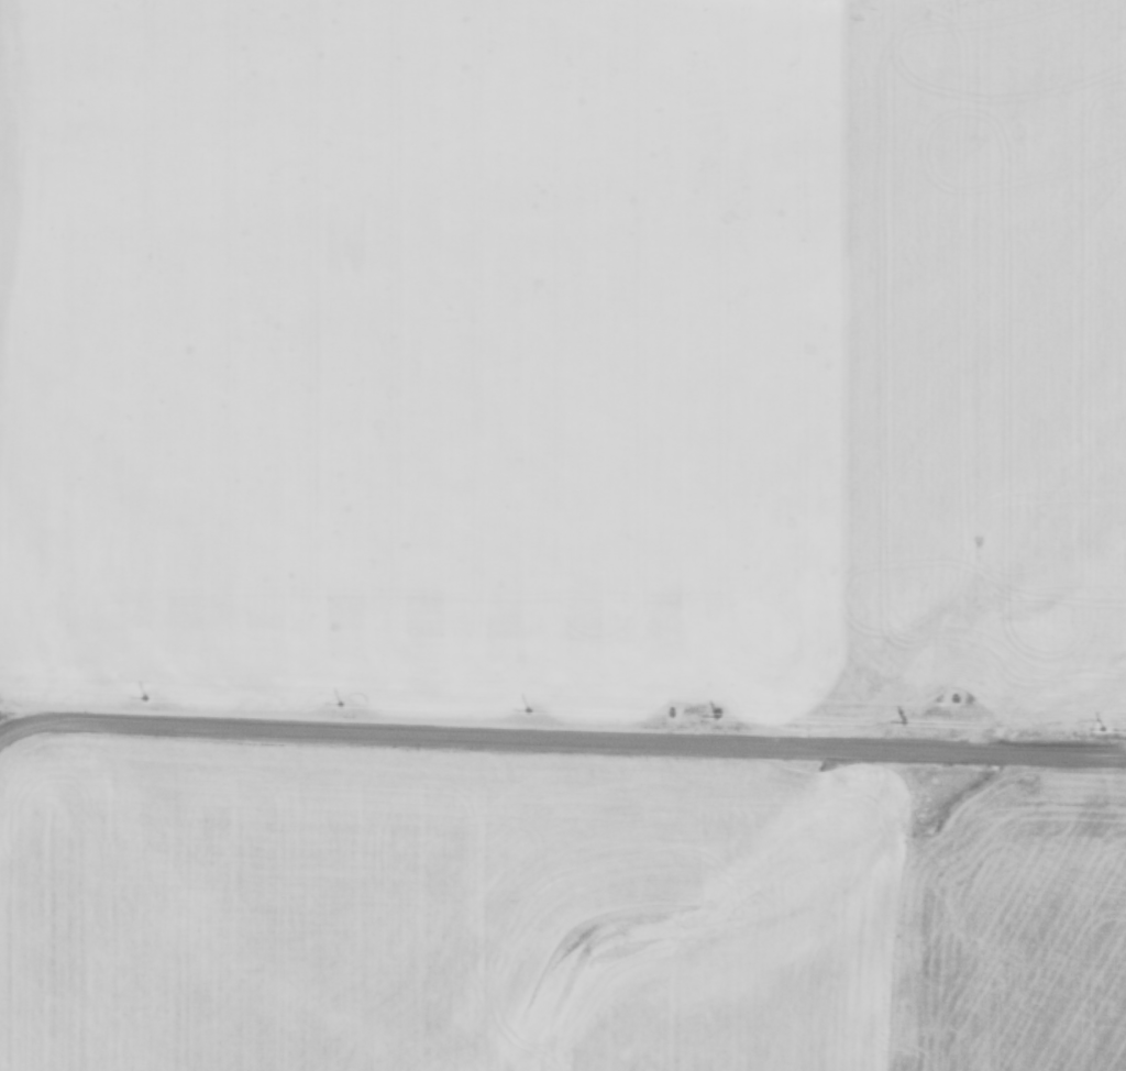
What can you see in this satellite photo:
road: (562, 728)

